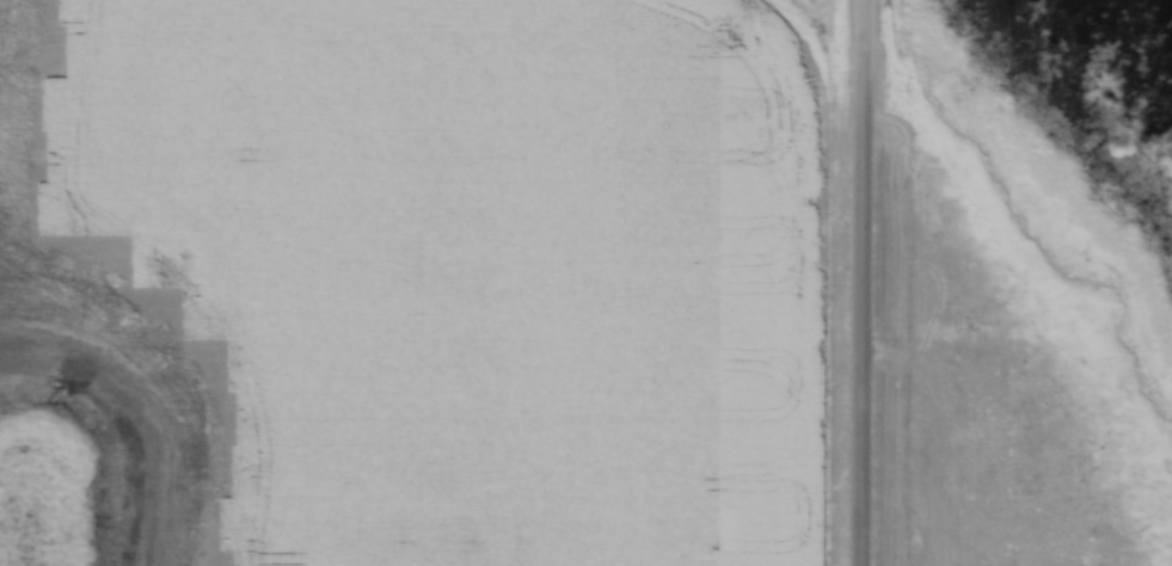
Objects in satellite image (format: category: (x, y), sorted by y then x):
road: (859, 282)

